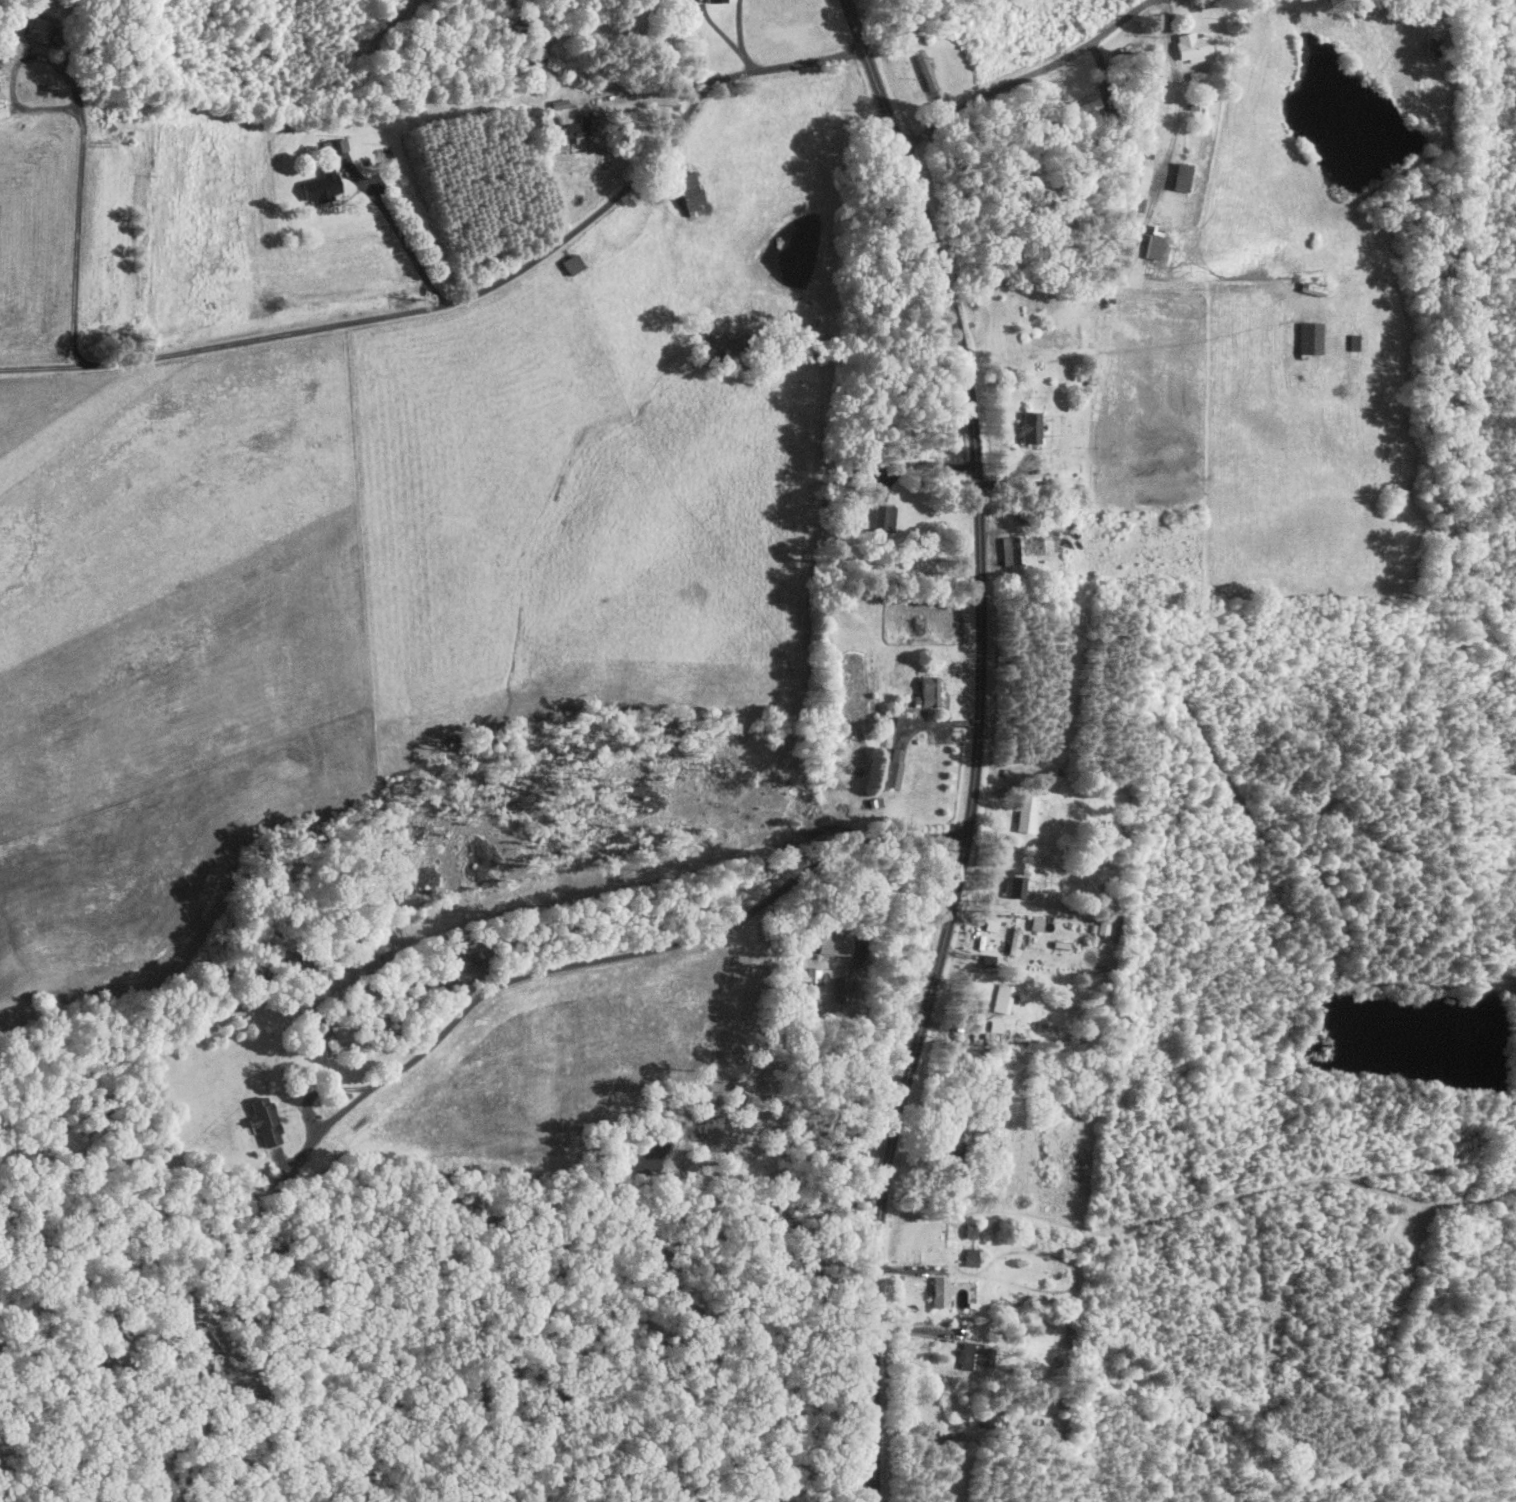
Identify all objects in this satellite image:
building: (712, 0)
road: (742, 38)
building: (1188, 45)
road: (1026, 73)
building: (557, 103)
building: (572, 131)
road: (82, 134)
building: (332, 145)
building: (1178, 175)
building: (316, 185)
building: (1134, 185)
building: (686, 192)
road: (1143, 226)
building: (1150, 246)
road: (411, 251)
building: (568, 263)
road: (474, 296)
building: (1307, 337)
building: (1350, 341)
building: (1027, 426)
road: (917, 466)
building: (876, 516)
building: (1006, 549)
building: (926, 690)
road: (937, 723)
road: (977, 745)
building: (893, 767)
building: (1024, 813)
building: (1015, 887)
building: (1033, 922)
building: (988, 925)
building: (1012, 941)
building: (830, 943)
building: (451, 956)
road: (585, 962)
building: (810, 975)
building: (1001, 998)
building: (260, 1121)
building: (967, 1256)
building: (936, 1290)
building: (965, 1356)
road: (847, 1480)

